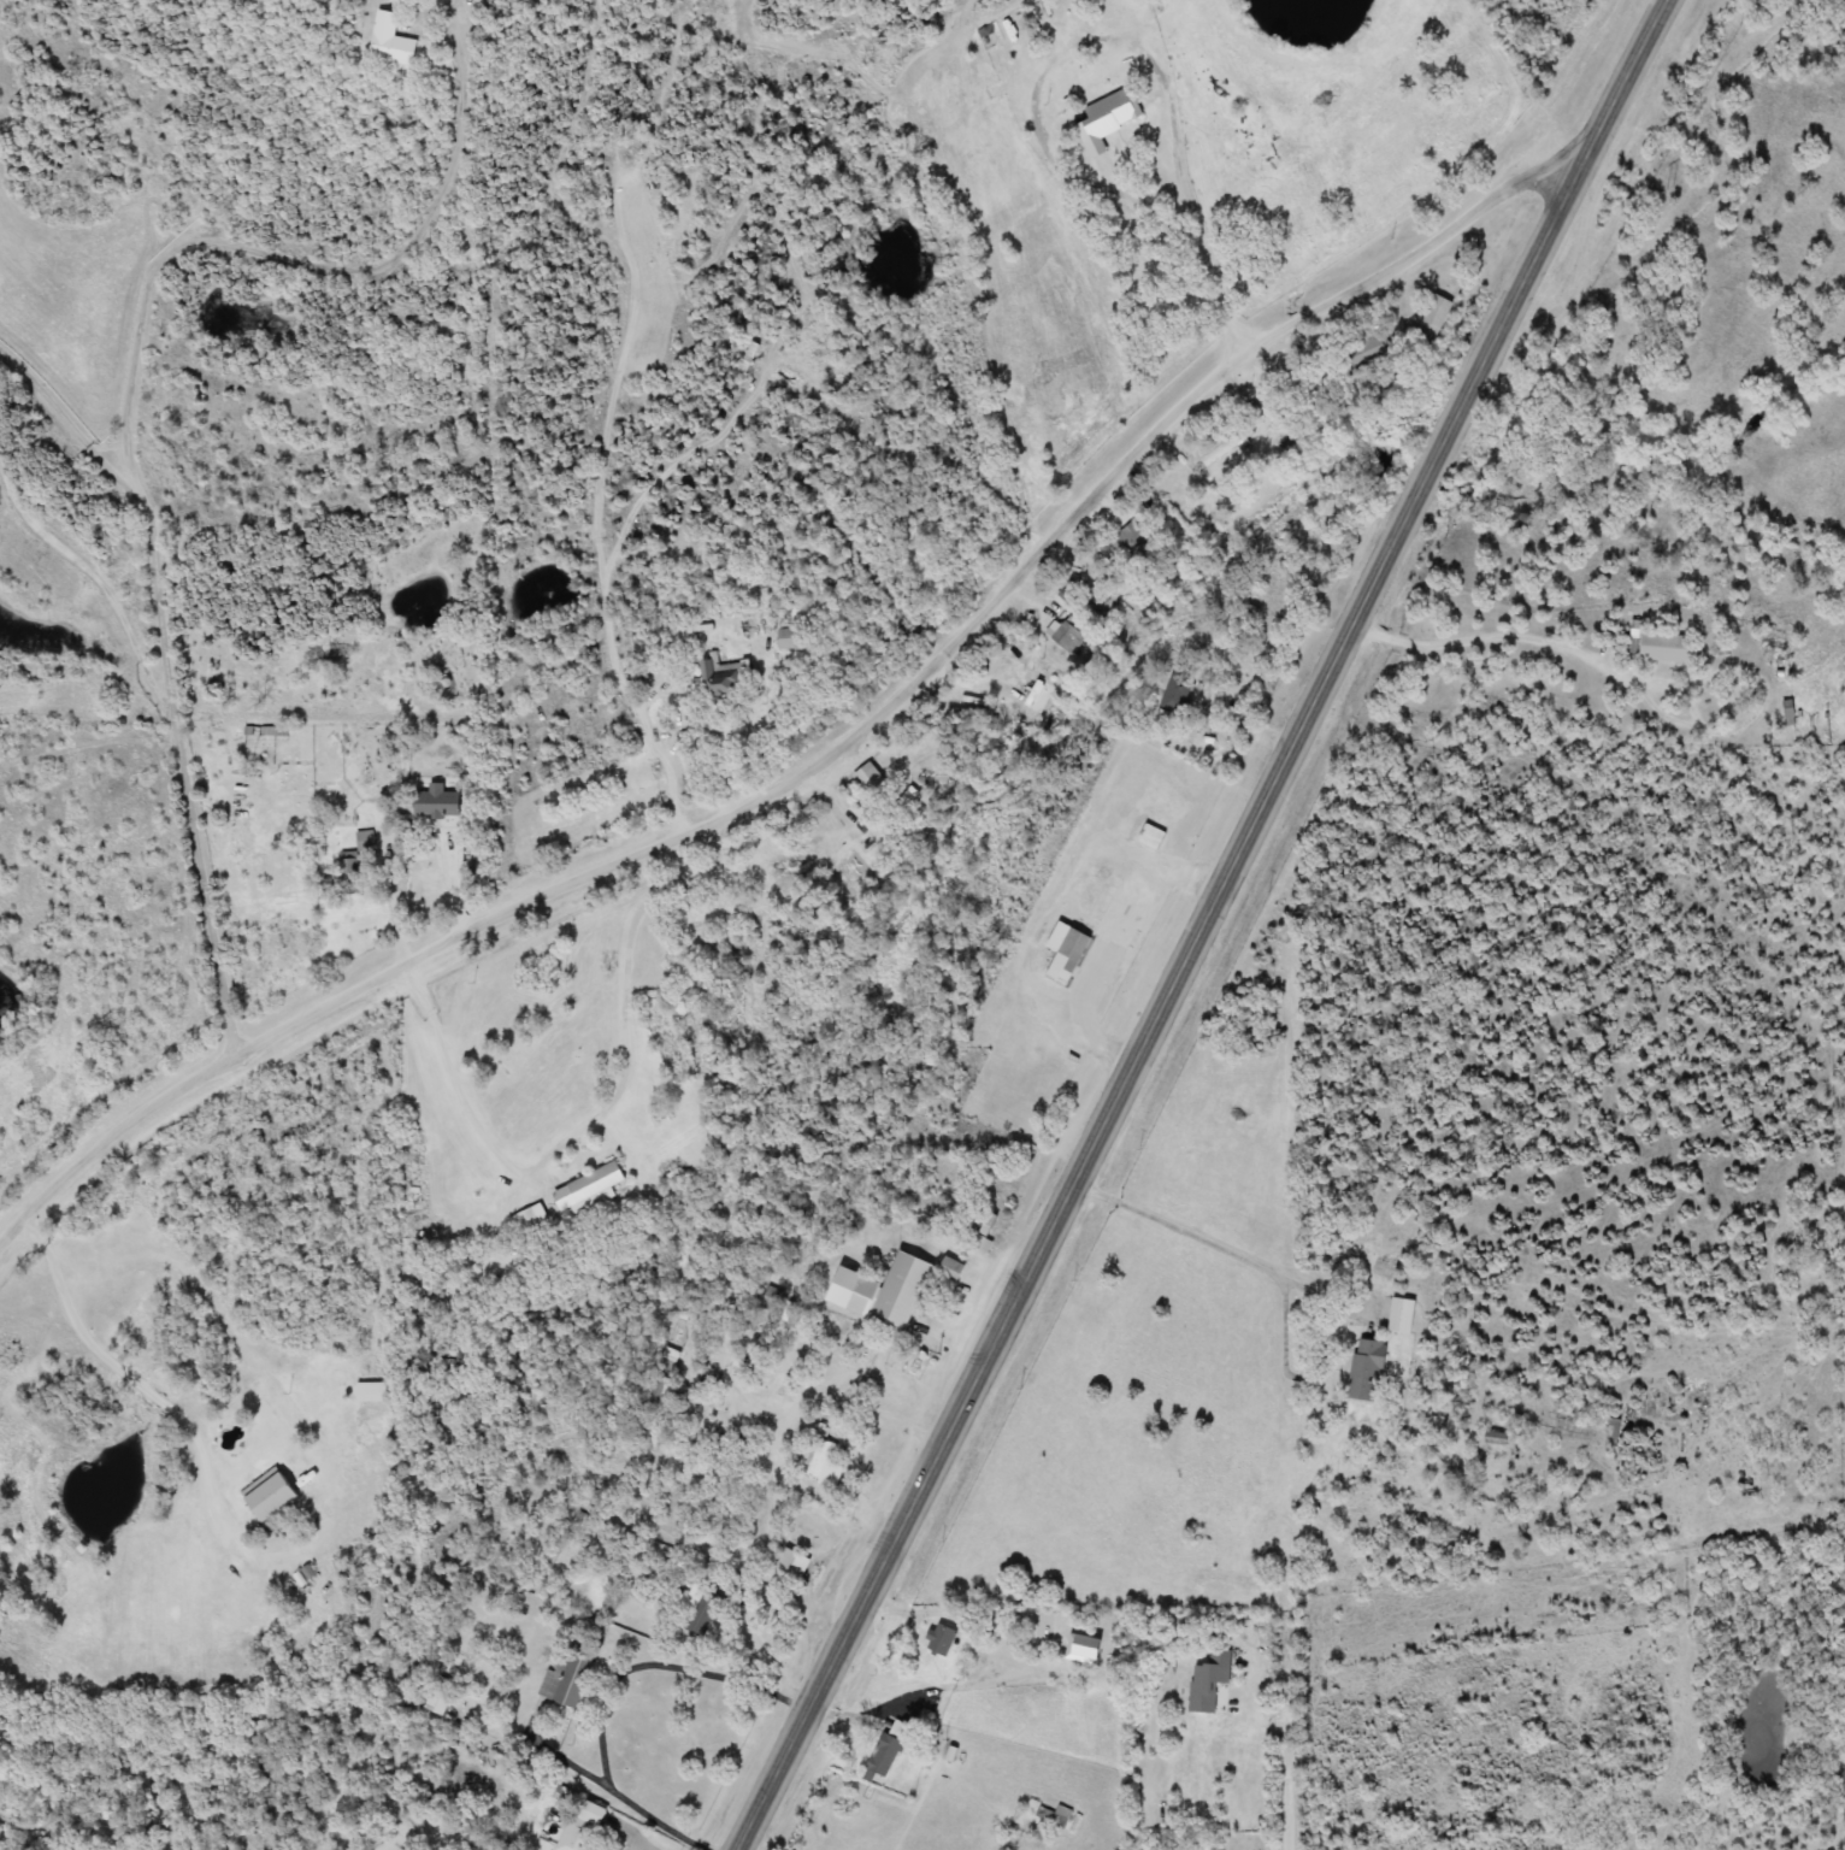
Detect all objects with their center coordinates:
power tower: (1554, 13)
building: (388, 41)
building: (1107, 120)
road: (1178, 177)
power tower: (1660, 192)
road: (290, 252)
building: (1431, 317)
building: (1233, 440)
road: (104, 579)
building: (1250, 617)
road: (1503, 635)
building: (790, 638)
building: (1656, 643)
road: (173, 676)
building: (723, 677)
building: (1174, 694)
building: (1028, 702)
road: (842, 741)
building: (1121, 829)
building: (1148, 836)
building: (365, 841)
road: (400, 901)
road: (1202, 924)
railway: (1255, 925)
building: (1061, 953)
road: (631, 990)
road: (460, 1083)
building: (590, 1190)
building: (978, 1232)
road: (1195, 1233)
building: (947, 1268)
building: (878, 1291)
building: (771, 1297)
building: (1399, 1315)
building: (1366, 1371)
road: (870, 1387)
building: (373, 1394)
building: (659, 1396)
building: (818, 1462)
building: (275, 1493)
building: (789, 1565)
road: (953, 1612)
building: (701, 1613)
building: (938, 1639)
road: (773, 1663)
building: (566, 1681)
building: (1206, 1681)
road: (611, 1693)
building: (436, 1697)
road: (863, 1716)
road: (1286, 1737)
building: (878, 1758)
building: (1049, 1821)
building: (582, 1832)

